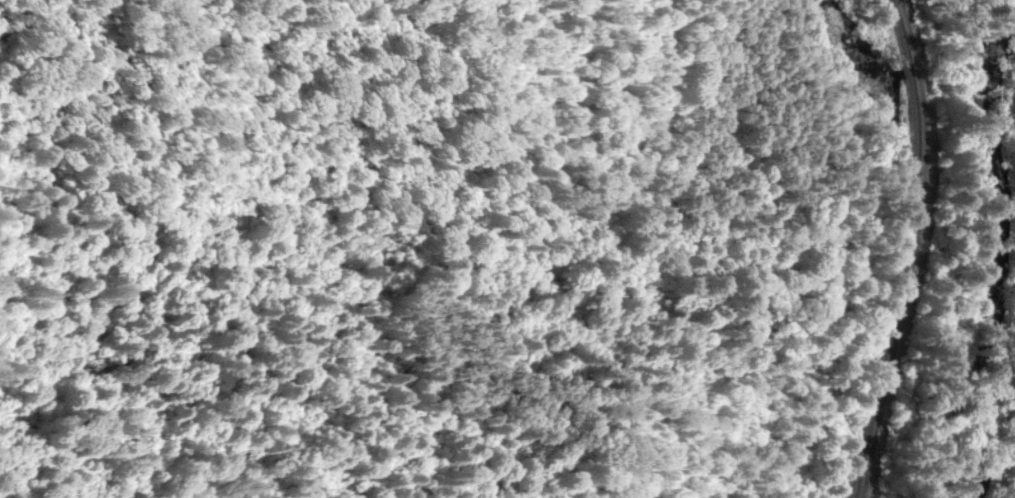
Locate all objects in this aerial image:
railway: (902, 248)

